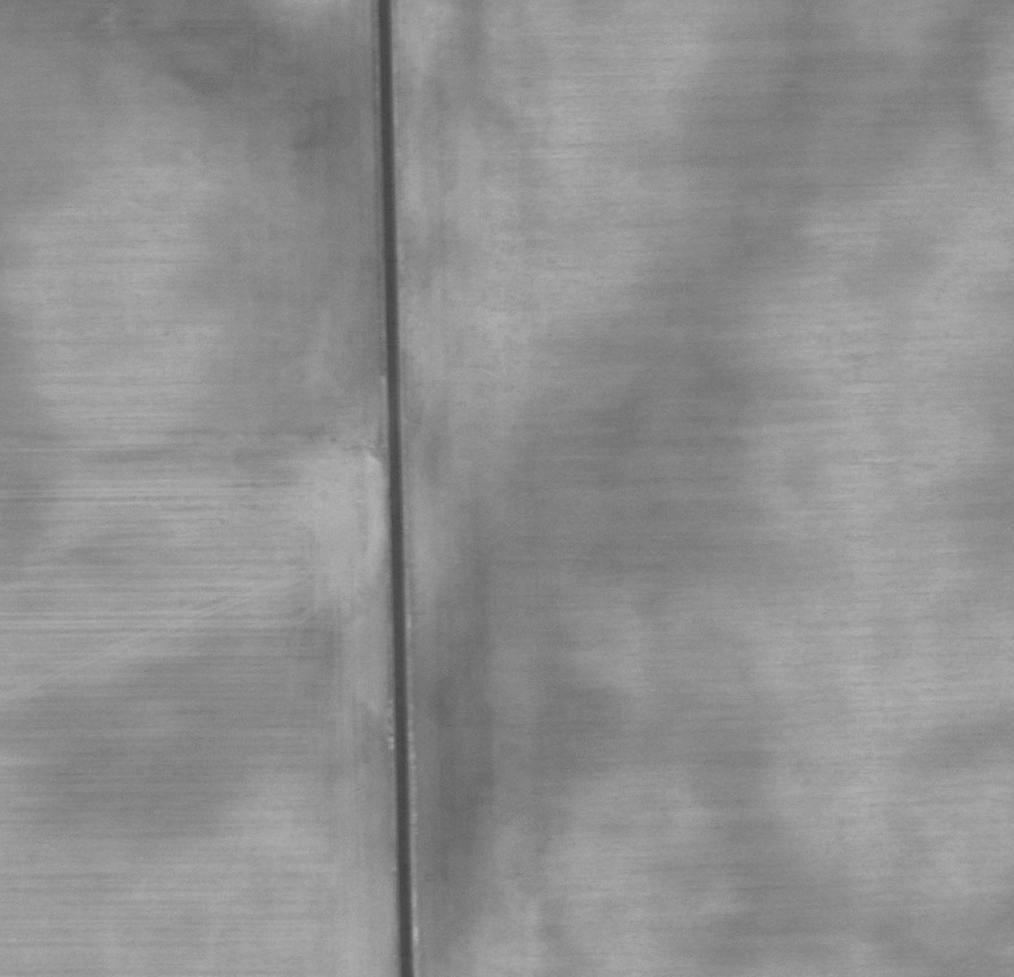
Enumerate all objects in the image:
road: (395, 488)

